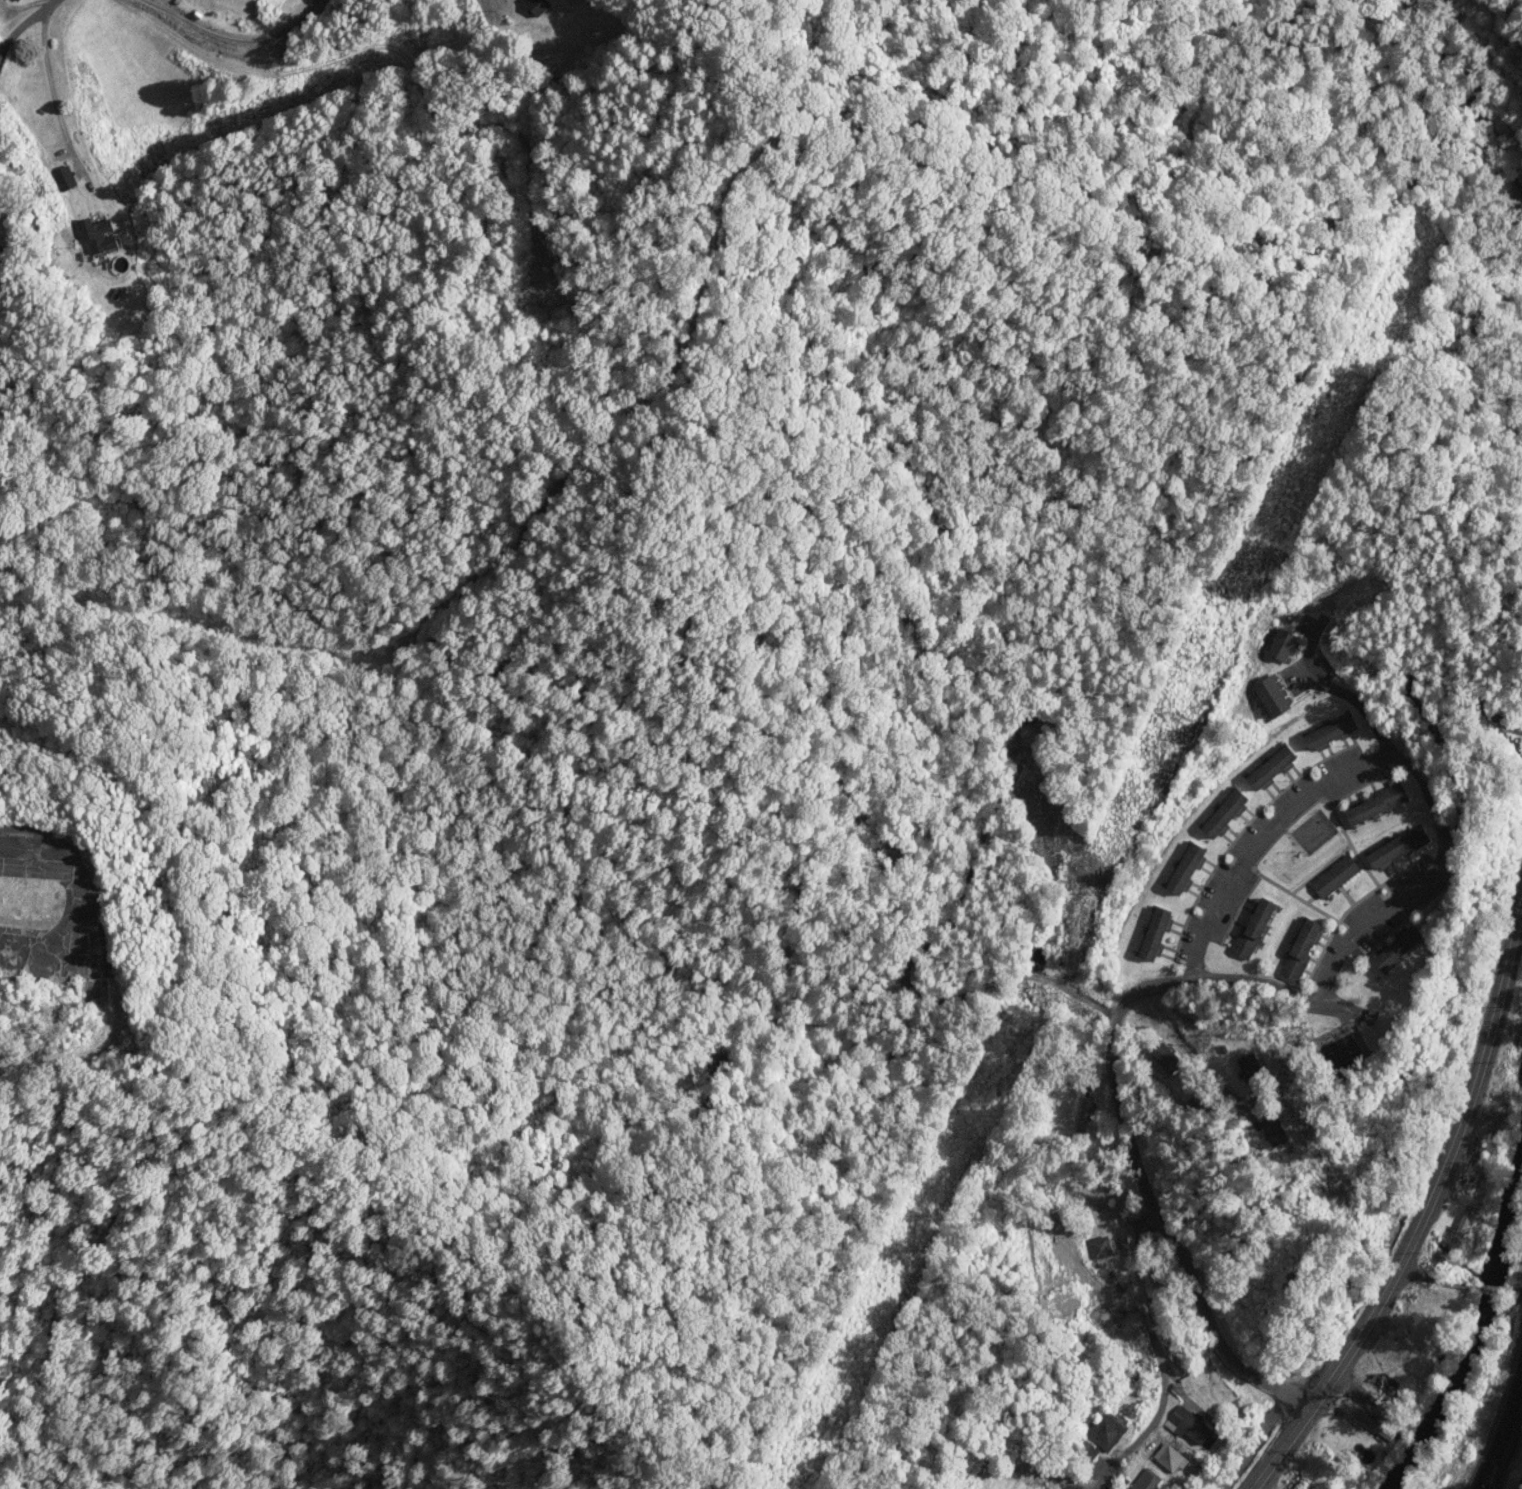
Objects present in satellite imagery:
building: (0, 0)
building: (16, 0)
building: (538, 7)
road: (273, 17)
road: (34, 57)
building: (66, 179)
building: (101, 237)
road: (1426, 714)
building: (1333, 733)
building: (1274, 768)
building: (1379, 805)
building: (1227, 814)
building: (1400, 848)
building: (1188, 869)
building: (1337, 876)
road: (1209, 923)
building: (1257, 929)
building: (1158, 934)
building: (1401, 948)
building: (1303, 950)
building: (1168, 1059)
road: (1202, 1061)
building: (1253, 1068)
building: (1087, 1112)
building: (1278, 1130)
road: (1150, 1199)
road: (1424, 1211)
building: (1468, 1213)
building: (1102, 1248)
road: (1459, 1280)
road: (1162, 1356)
railway: (1502, 1422)
building: (1192, 1424)
building: (1376, 1426)
building: (1109, 1432)
road: (1254, 1441)
railway: (1505, 1442)
building: (1085, 1452)
building: (1172, 1459)
building: (1064, 1478)
building: (1150, 1481)

